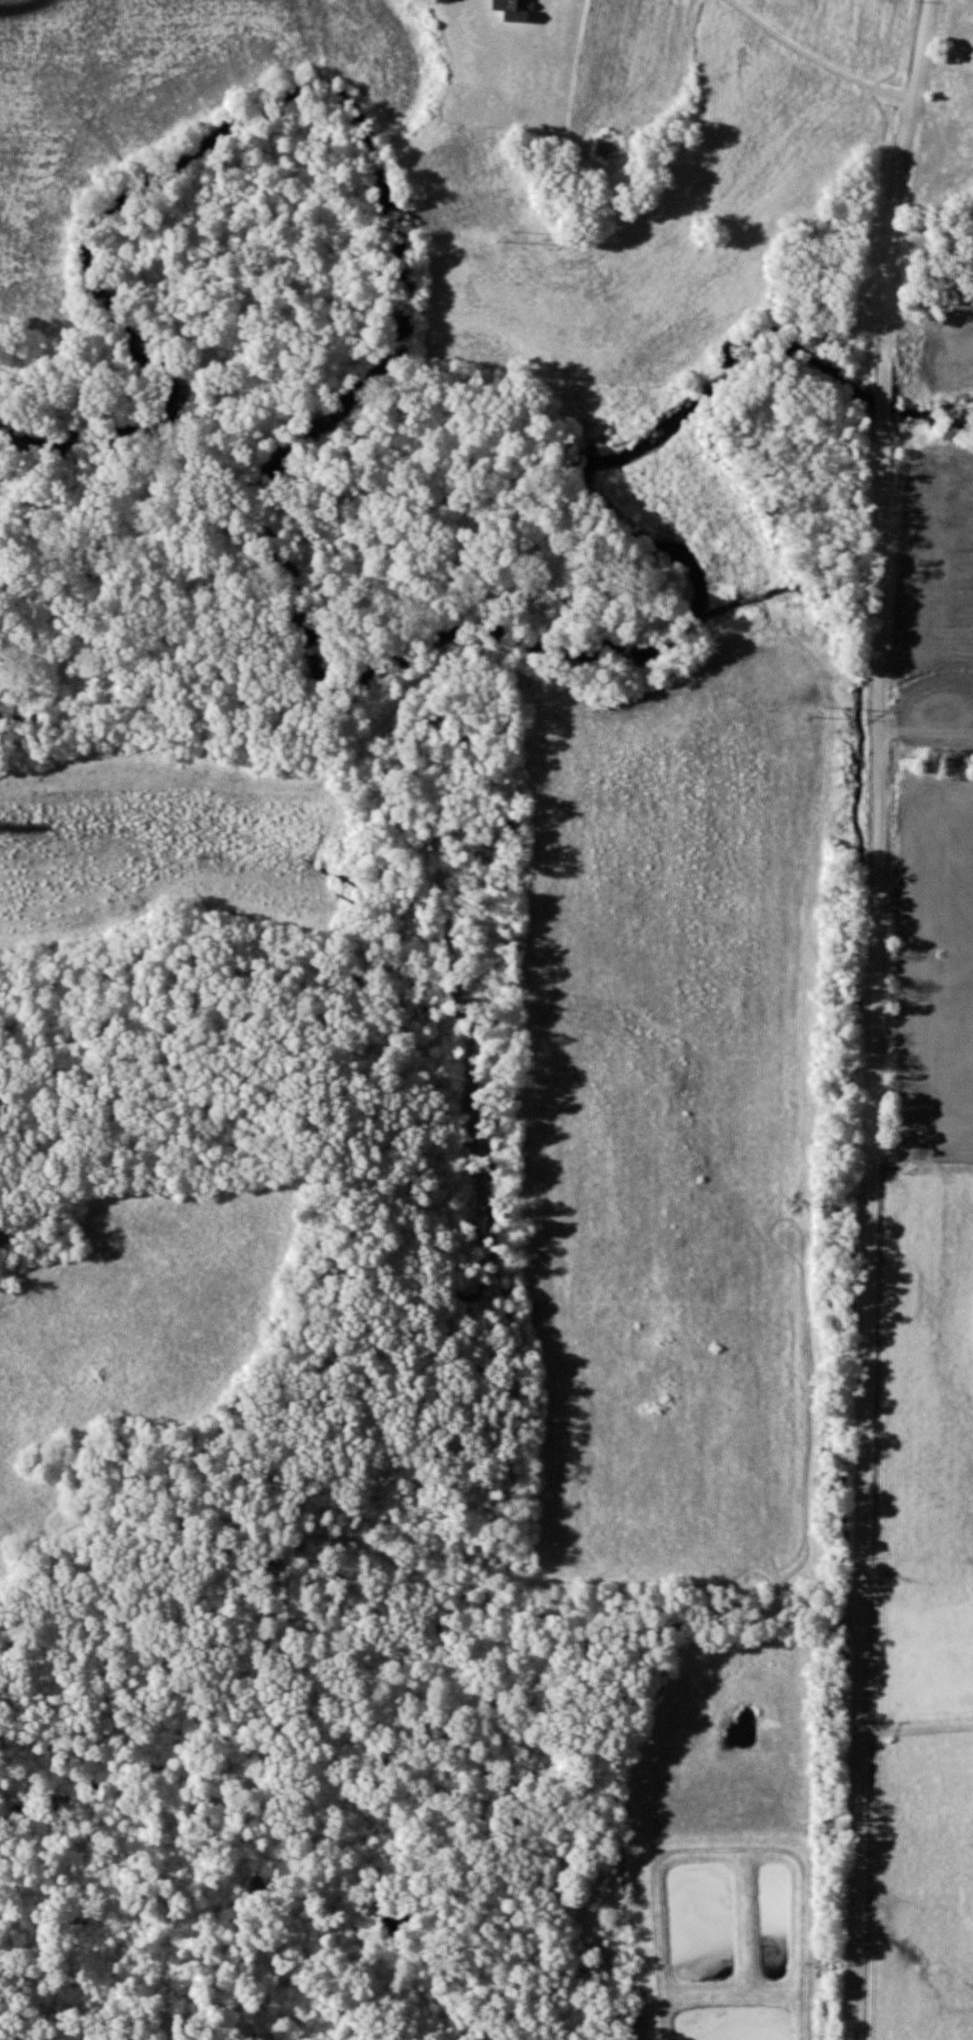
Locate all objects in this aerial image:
building: (484, 17)
road: (825, 54)
road: (900, 168)
power tower: (505, 236)
road: (881, 395)
power tower: (814, 710)
road: (865, 1245)
road: (526, 1610)
road: (915, 1730)

